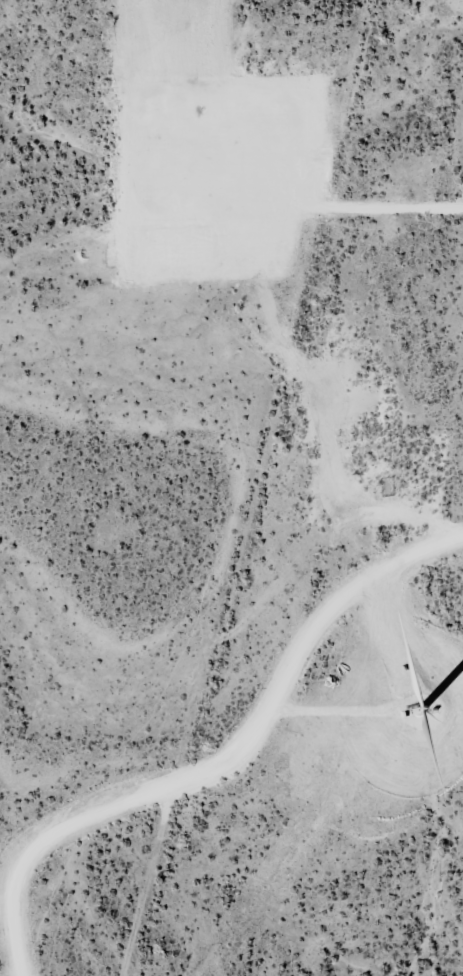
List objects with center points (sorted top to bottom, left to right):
wind turbine: (417, 712)

